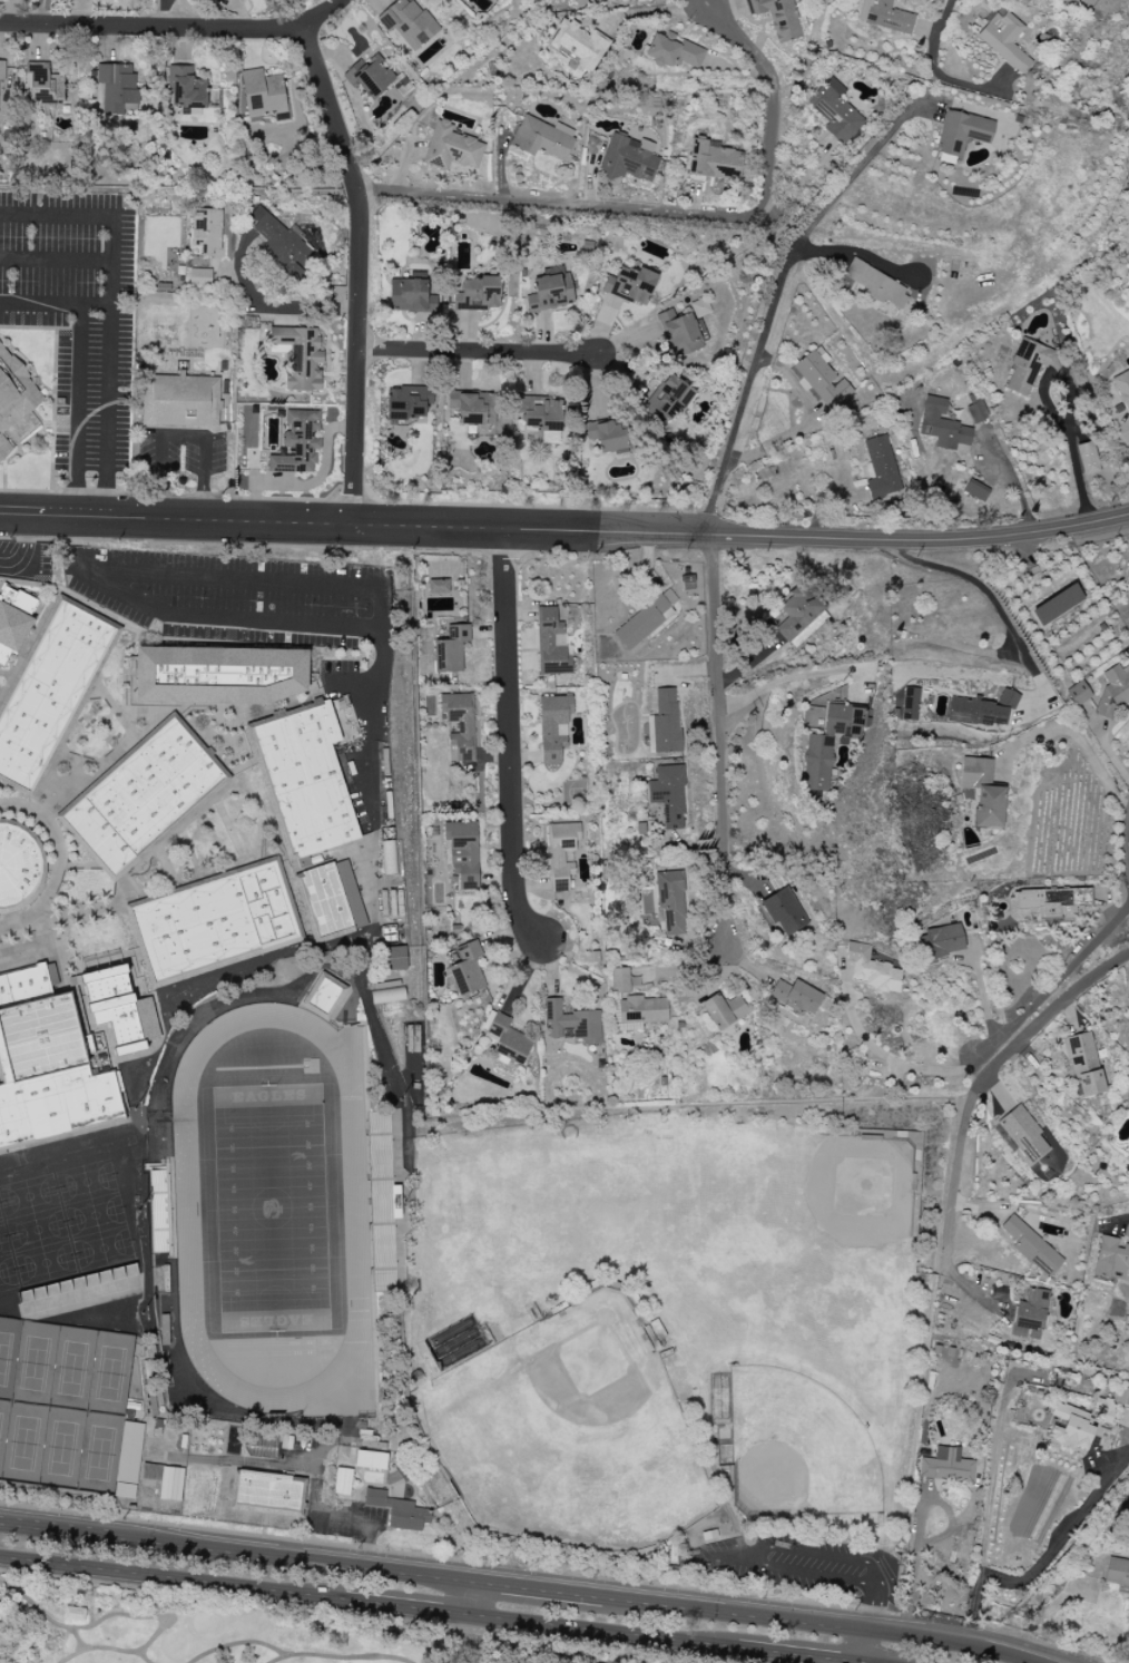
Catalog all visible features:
road: (39, 11)
road: (651, 11)
road: (170, 13)
building: (777, 17)
building: (884, 17)
building: (409, 23)
road: (943, 25)
road: (175, 27)
building: (1004, 39)
building: (578, 43)
building: (674, 51)
building: (370, 77)
building: (42, 85)
building: (0, 86)
building: (116, 87)
building: (185, 91)
building: (262, 94)
road: (767, 97)
building: (835, 111)
building: (960, 135)
building: (542, 138)
building: (451, 148)
building: (628, 158)
building: (713, 160)
road: (556, 204)
building: (206, 231)
building: (281, 244)
road: (55, 258)
road: (361, 268)
building: (199, 277)
building: (876, 284)
building: (630, 285)
building: (549, 292)
building: (477, 293)
building: (412, 294)
road: (774, 299)
road: (55, 304)
building: (699, 307)
road: (108, 311)
road: (282, 311)
building: (678, 334)
road: (950, 343)
road: (478, 352)
building: (298, 356)
building: (1027, 365)
building: (821, 380)
road: (53, 382)
building: (1122, 388)
building: (13, 395)
building: (669, 397)
building: (179, 401)
building: (408, 402)
building: (464, 407)
road: (77, 411)
building: (976, 412)
building: (539, 413)
road: (1057, 415)
building: (942, 425)
building: (613, 437)
road: (181, 440)
building: (296, 443)
building: (1088, 458)
building: (881, 468)
building: (975, 491)
road: (177, 496)
road: (566, 531)
road: (265, 545)
road: (24, 549)
road: (249, 578)
building: (438, 588)
road: (989, 595)
parking lot: (294, 600)
building: (1057, 605)
building: (801, 614)
building: (16, 620)
road: (248, 620)
building: (645, 620)
building: (551, 644)
building: (450, 649)
road: (22, 656)
road: (796, 676)
building: (217, 677)
road: (352, 683)
building: (50, 691)
building: (1113, 691)
building: (1078, 693)
building: (910, 704)
building: (981, 710)
road: (114, 712)
building: (665, 722)
building: (459, 725)
building: (553, 727)
road: (507, 738)
road: (1078, 742)
building: (829, 743)
road: (724, 753)
road: (106, 765)
road: (242, 766)
building: (304, 777)
building: (982, 791)
building: (668, 794)
building: (143, 796)
road: (228, 829)
road: (188, 851)
building: (462, 852)
building: (561, 854)
building: (387, 858)
road: (58, 862)
building: (310, 863)
road: (165, 864)
building: (19, 865)
road: (188, 879)
building: (350, 893)
building: (323, 902)
building: (670, 902)
building: (1048, 902)
building: (784, 911)
road: (60, 918)
building: (214, 922)
building: (942, 941)
building: (394, 958)
building: (467, 969)
building: (870, 969)
building: (51, 975)
building: (619, 980)
building: (387, 996)
building: (324, 997)
building: (795, 998)
building: (118, 1007)
building: (642, 1010)
building: (725, 1010)
building: (572, 1023)
building: (508, 1039)
road: (997, 1043)
building: (48, 1065)
building: (1084, 1065)
road: (984, 1074)
building: (1023, 1135)
park: (271, 1209)
track: (355, 1210)
road: (1126, 1219)
park: (61, 1226)
building: (1031, 1246)
building: (1111, 1259)
park: (697, 1280)
building: (81, 1290)
building: (1030, 1315)
park: (8, 1356)
park: (35, 1364)
park: (72, 1369)
park: (110, 1375)
building: (1123, 1401)
building: (1103, 1409)
park: (3, 1428)
building: (1071, 1428)
park: (568, 1436)
park: (23, 1445)
building: (373, 1445)
building: (259, 1447)
park: (61, 1449)
park: (99, 1454)
building: (132, 1455)
building: (372, 1460)
road: (248, 1461)
building: (946, 1466)
building: (405, 1471)
building: (154, 1474)
building: (343, 1481)
building: (268, 1494)
building: (397, 1510)
road: (345, 1520)
road: (264, 1525)
road: (916, 1526)
road: (984, 1526)
road: (1059, 1537)
road: (728, 1556)
road: (450, 1558)
parking lot: (803, 1564)
building: (1117, 1571)
road: (173, 1579)
road: (518, 1587)
building: (1128, 1595)
road: (470, 1598)
road: (406, 1607)
building: (73, 1613)
park: (332, 1621)
road: (868, 1624)
road: (600, 1631)
road: (464, 1638)
road: (795, 1655)

